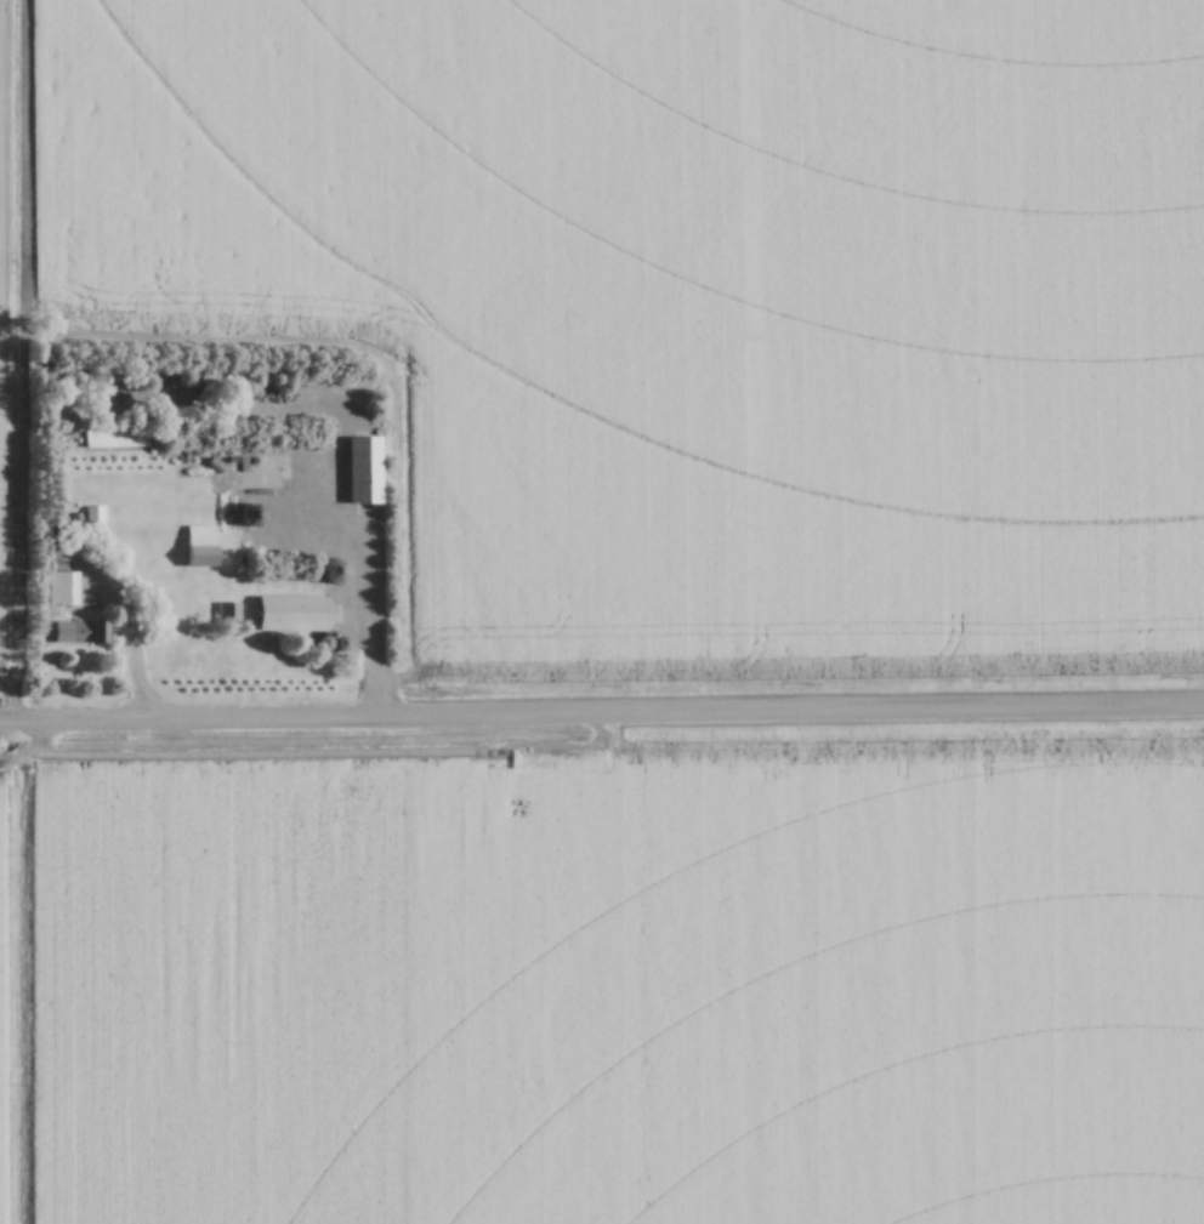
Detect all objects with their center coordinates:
crop: (678, 300)
building: (115, 438)
building: (273, 522)
building: (199, 543)
silo: (331, 571)
building: (330, 573)
road: (360, 583)
building: (63, 587)
building: (295, 613)
building: (227, 615)
building: (85, 632)
road: (136, 638)
silo: (322, 643)
silo: (340, 643)
road: (601, 713)
crop: (602, 986)

